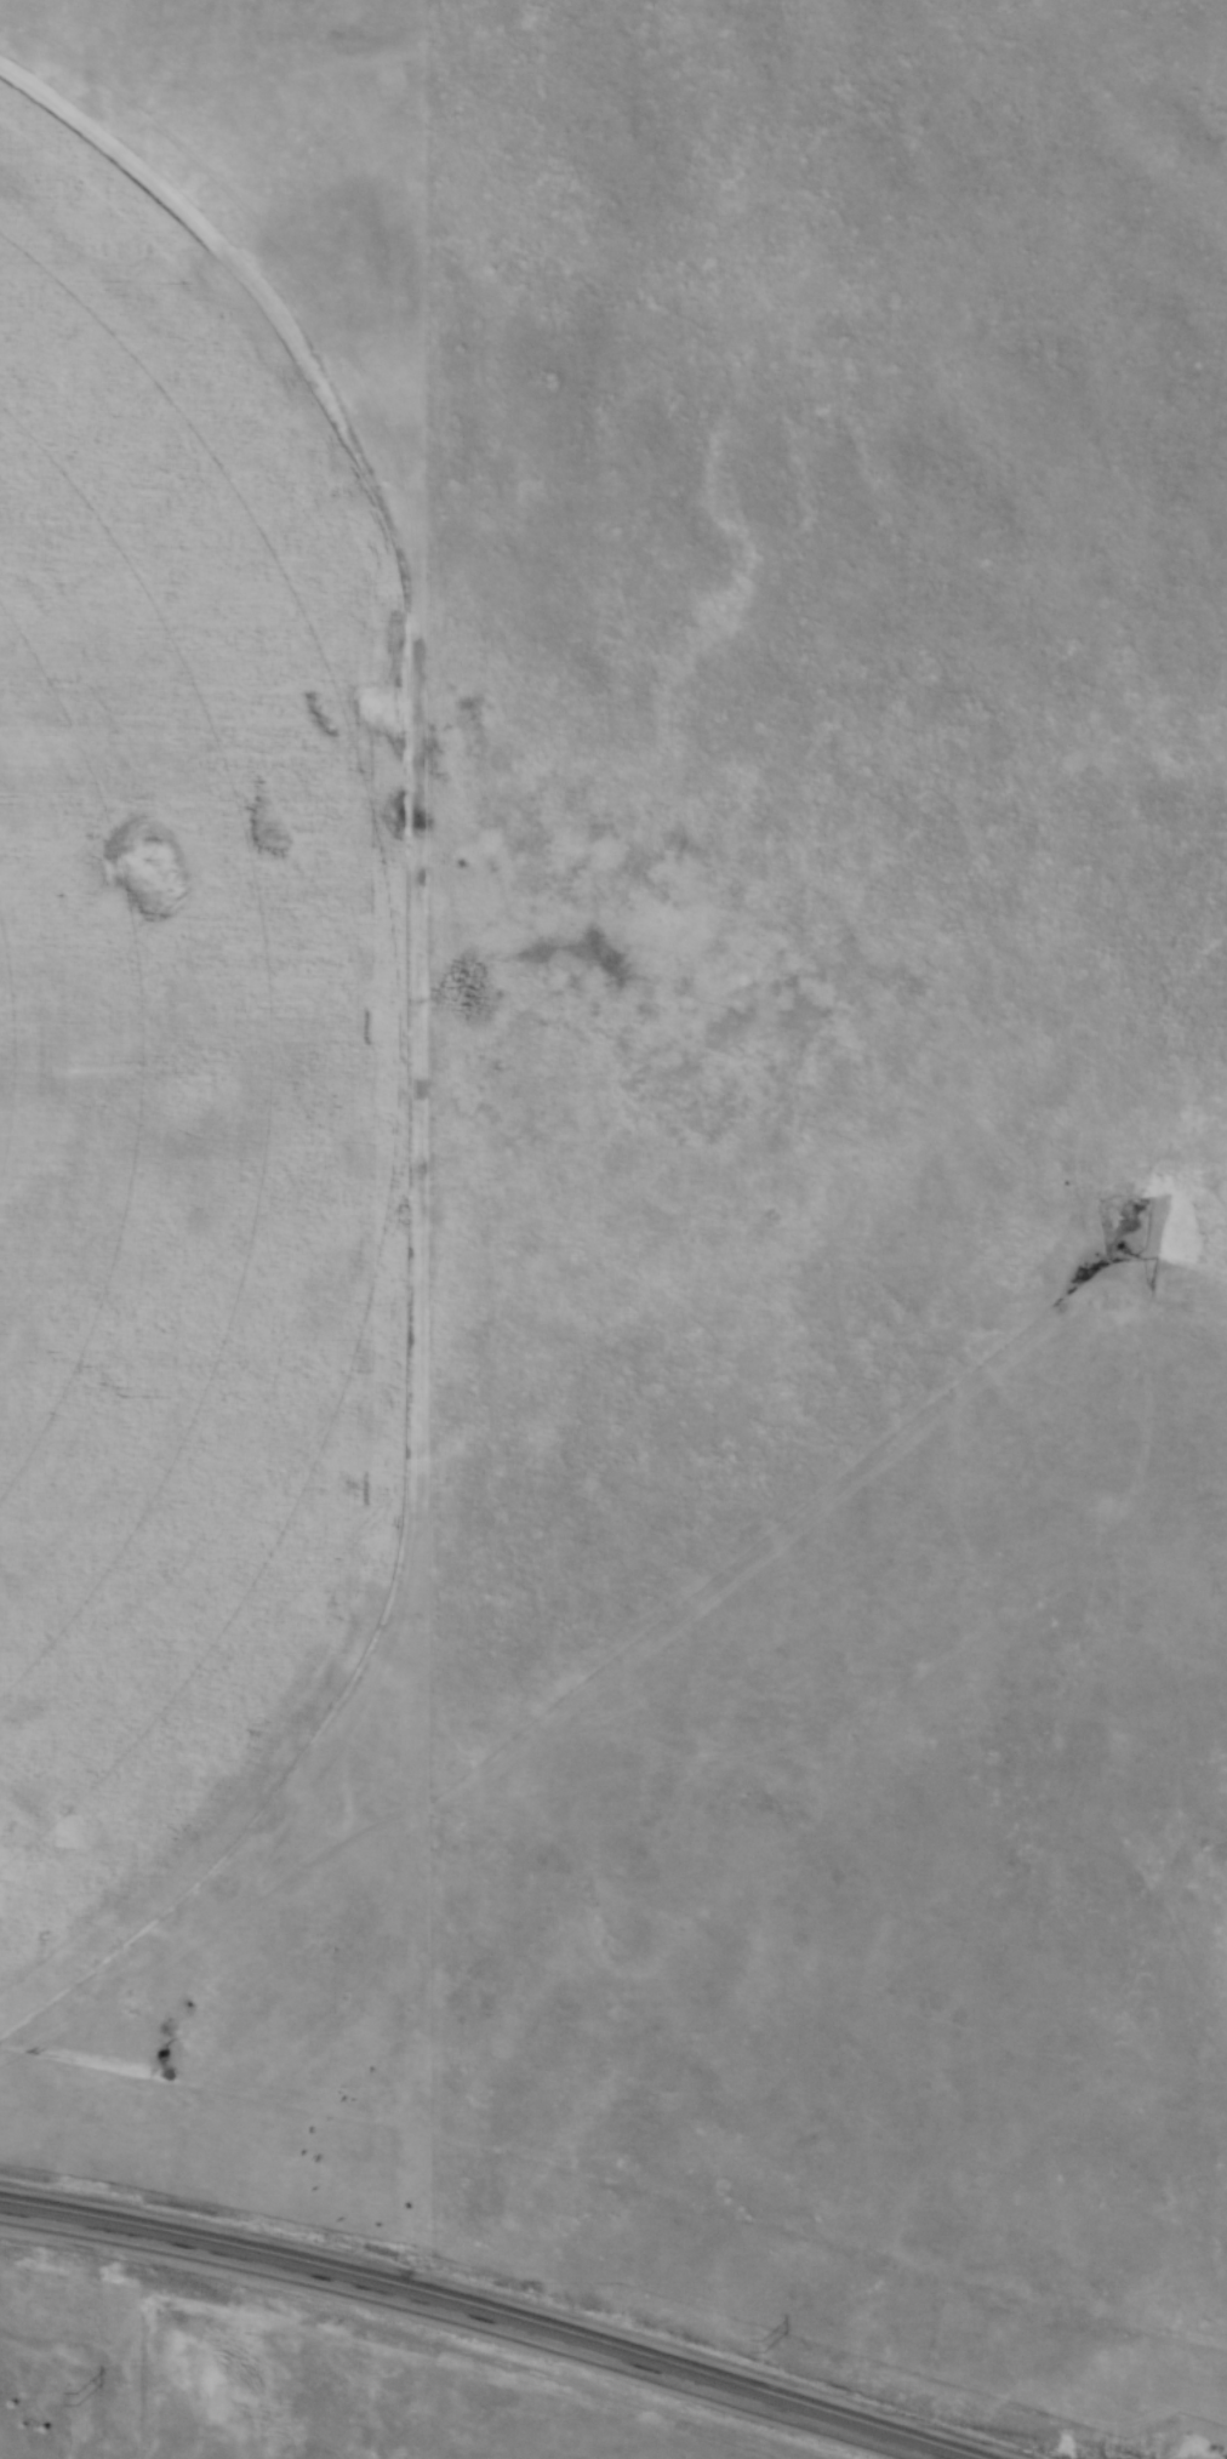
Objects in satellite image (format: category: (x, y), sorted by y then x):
railway: (498, 2311)
railway: (468, 2324)
power tower: (758, 2345)
power tower: (70, 2398)

